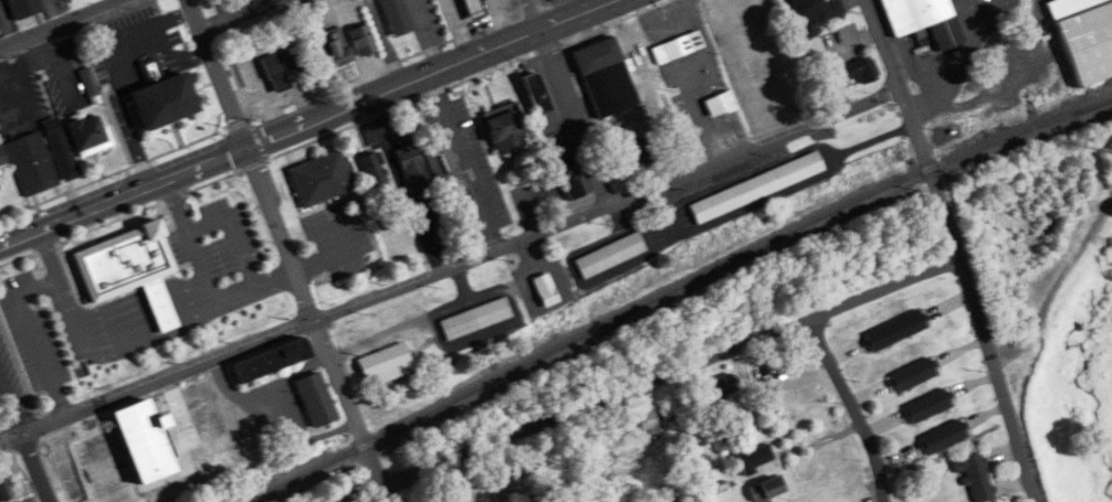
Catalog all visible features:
building: (22, 9)
building: (473, 9)
road: (239, 14)
road: (535, 14)
building: (815, 14)
building: (396, 17)
building: (923, 20)
road: (61, 23)
road: (427, 34)
building: (1084, 35)
building: (363, 41)
road: (386, 42)
building: (678, 47)
building: (334, 49)
building: (280, 66)
building: (858, 71)
road: (431, 72)
road: (220, 73)
building: (606, 77)
building: (535, 94)
building: (162, 99)
building: (721, 105)
railway: (1103, 105)
road: (575, 114)
building: (504, 130)
building: (88, 136)
building: (1111, 148)
building: (637, 153)
building: (42, 159)
building: (0, 163)
building: (441, 163)
building: (412, 168)
building: (373, 170)
building: (321, 179)
building: (569, 179)
road: (400, 184)
building: (756, 188)
road: (124, 195)
road: (957, 248)
building: (610, 255)
building: (125, 264)
road: (450, 264)
road: (207, 281)
road: (1056, 285)
building: (545, 289)
railway: (678, 289)
road: (193, 305)
building: (160, 306)
road: (24, 311)
road: (165, 314)
building: (475, 319)
road: (314, 327)
road: (85, 342)
building: (270, 361)
building: (386, 365)
building: (913, 374)
road: (652, 377)
building: (723, 386)
building: (315, 399)
building: (927, 405)
road: (848, 408)
building: (647, 420)
building: (942, 436)
road: (23, 438)
road: (57, 447)
building: (139, 447)
building: (756, 459)
building: (975, 476)
building: (3, 489)
building: (767, 489)
road: (34, 498)

